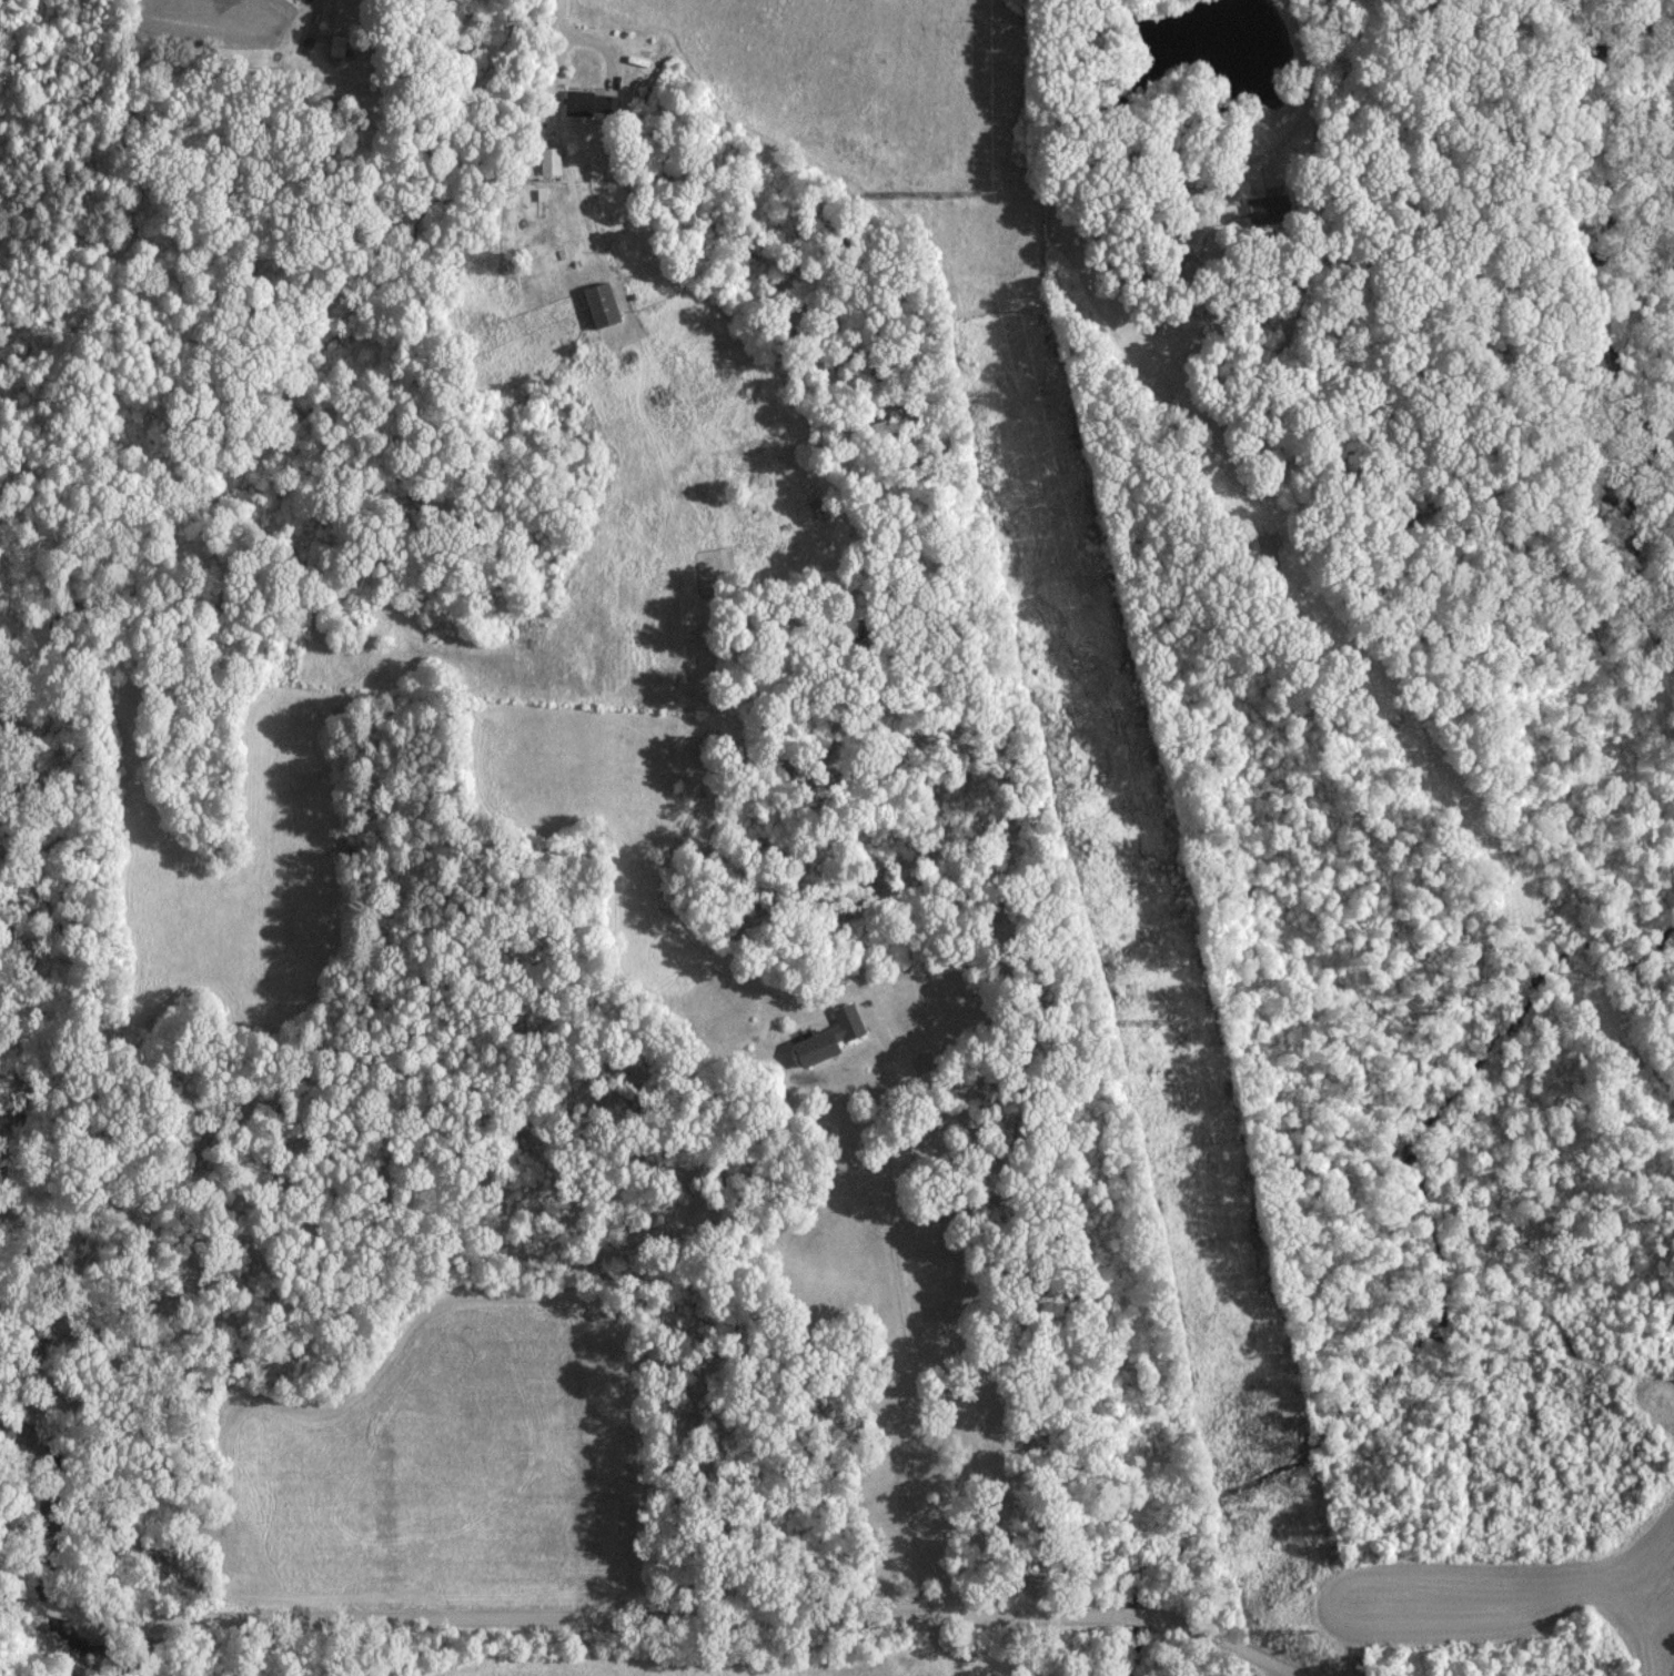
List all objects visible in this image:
road: (572, 34)
building: (586, 102)
building: (547, 159)
power tower: (974, 194)
building: (1260, 204)
building: (598, 302)
building: (843, 1022)
power tower: (1166, 1024)
building: (807, 1048)
road: (911, 1314)
road: (653, 1616)
power tower: (1307, 1630)

